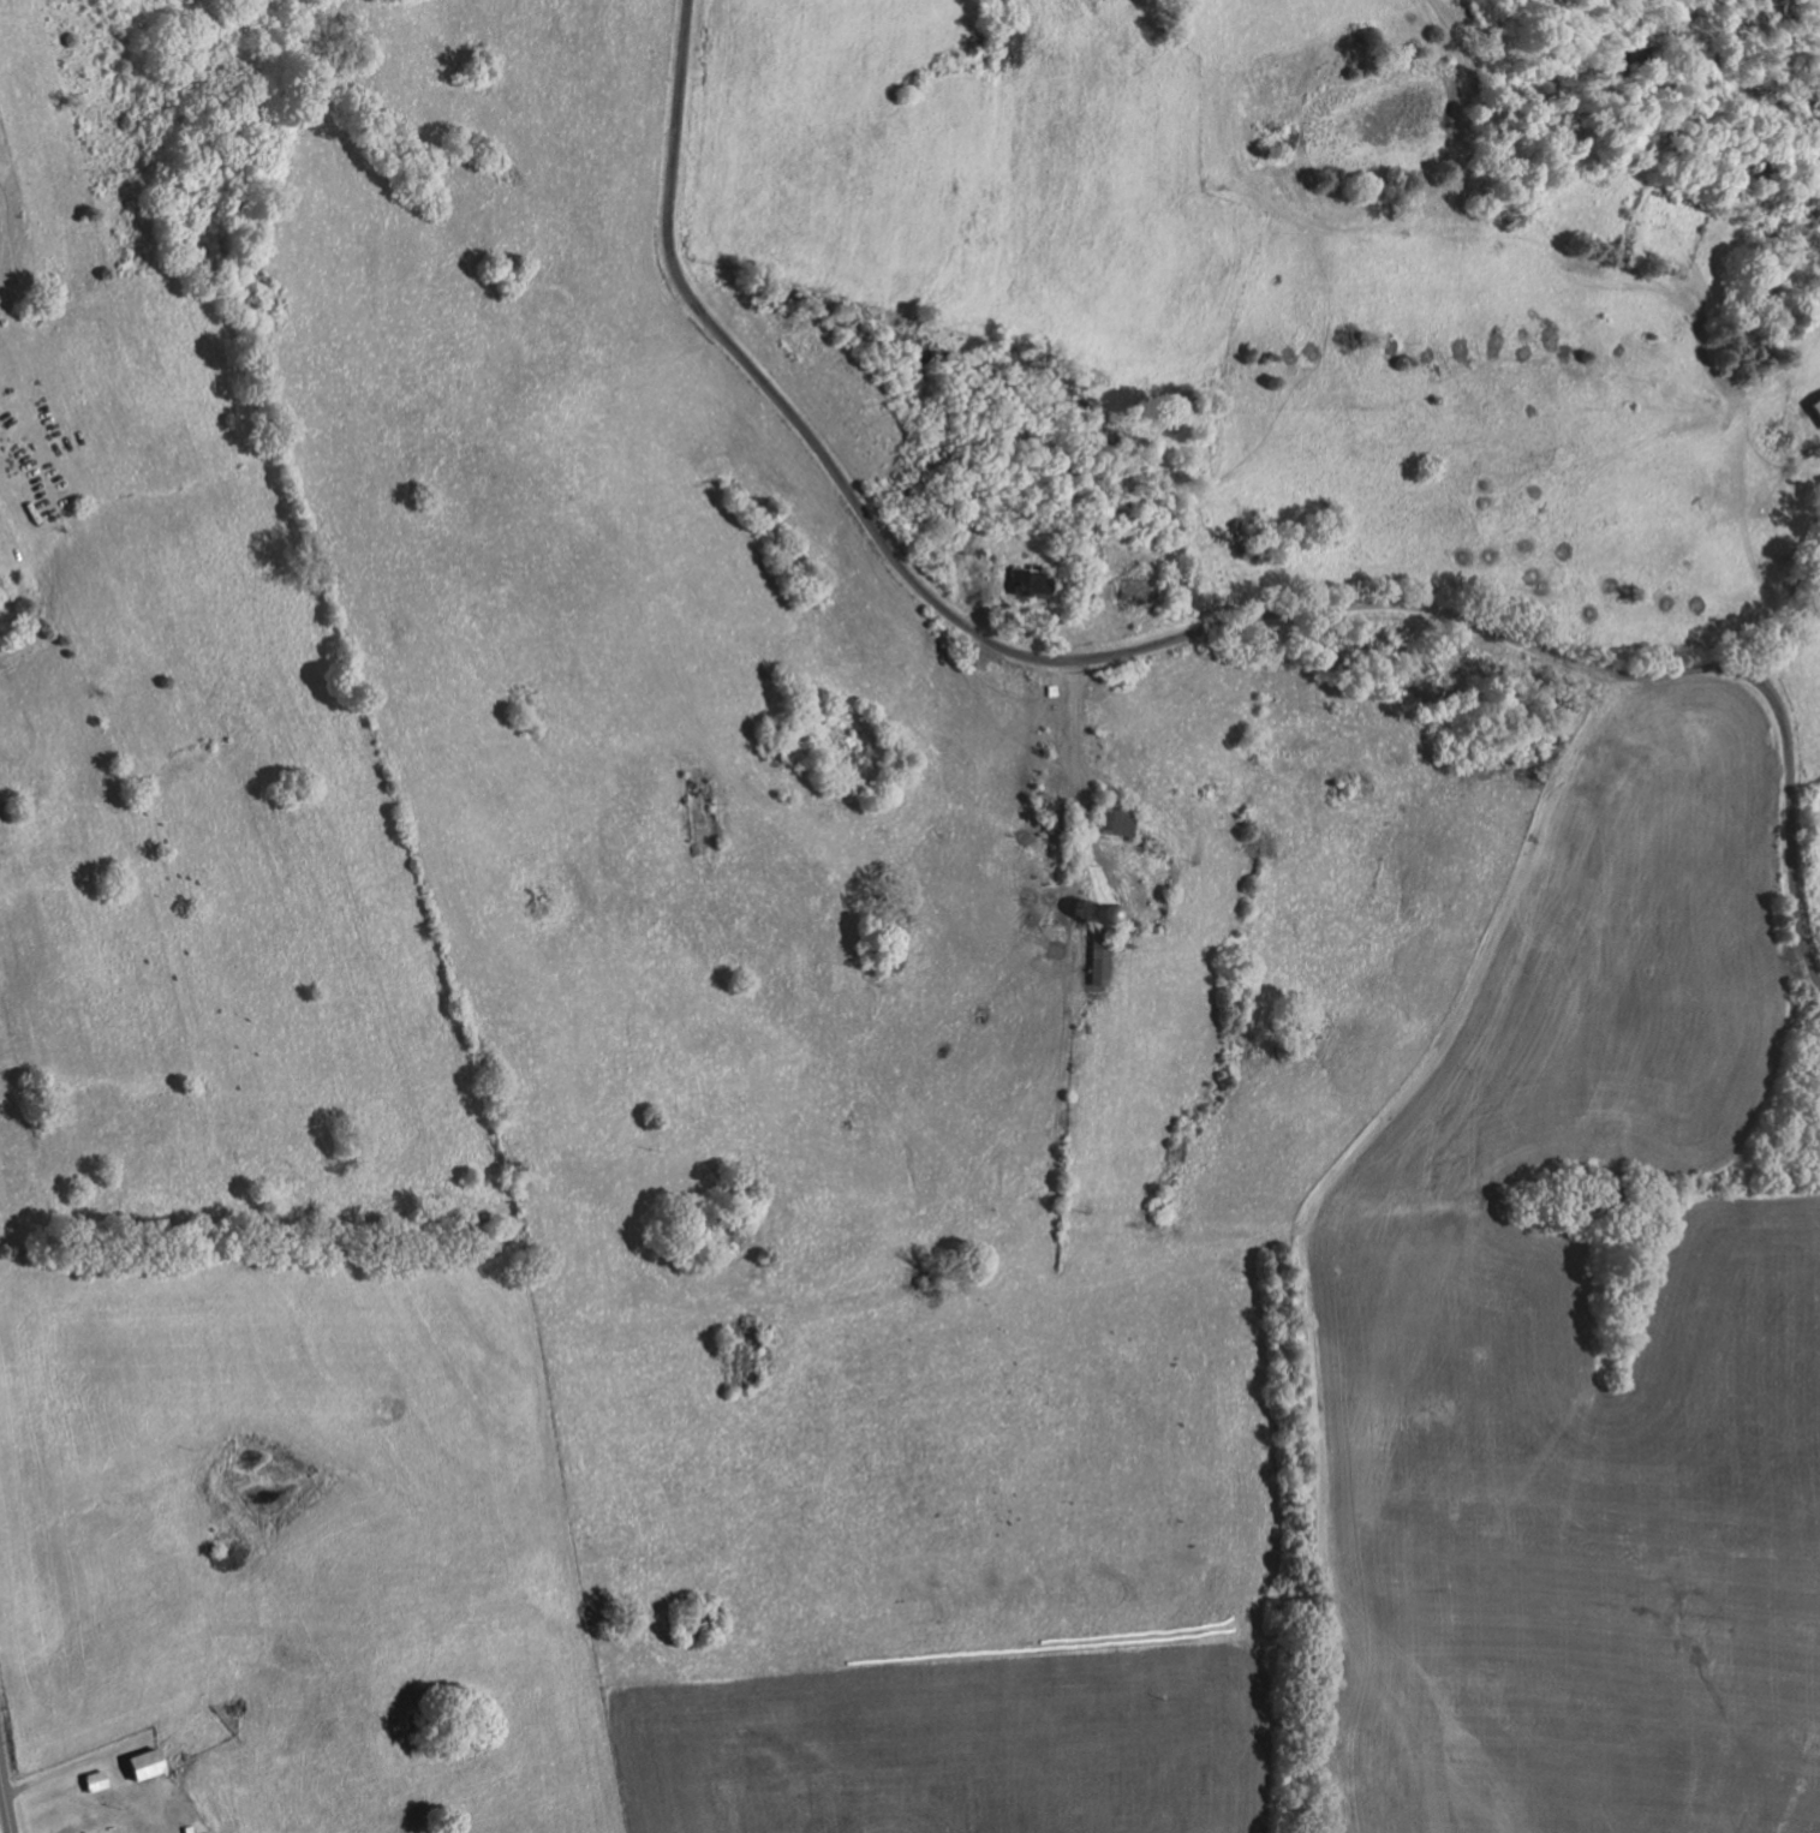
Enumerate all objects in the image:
building: (1815, 406)
building: (1027, 580)
road: (1153, 639)
road: (1178, 1240)
building: (141, 1763)
building: (94, 1780)
road: (5, 1801)

